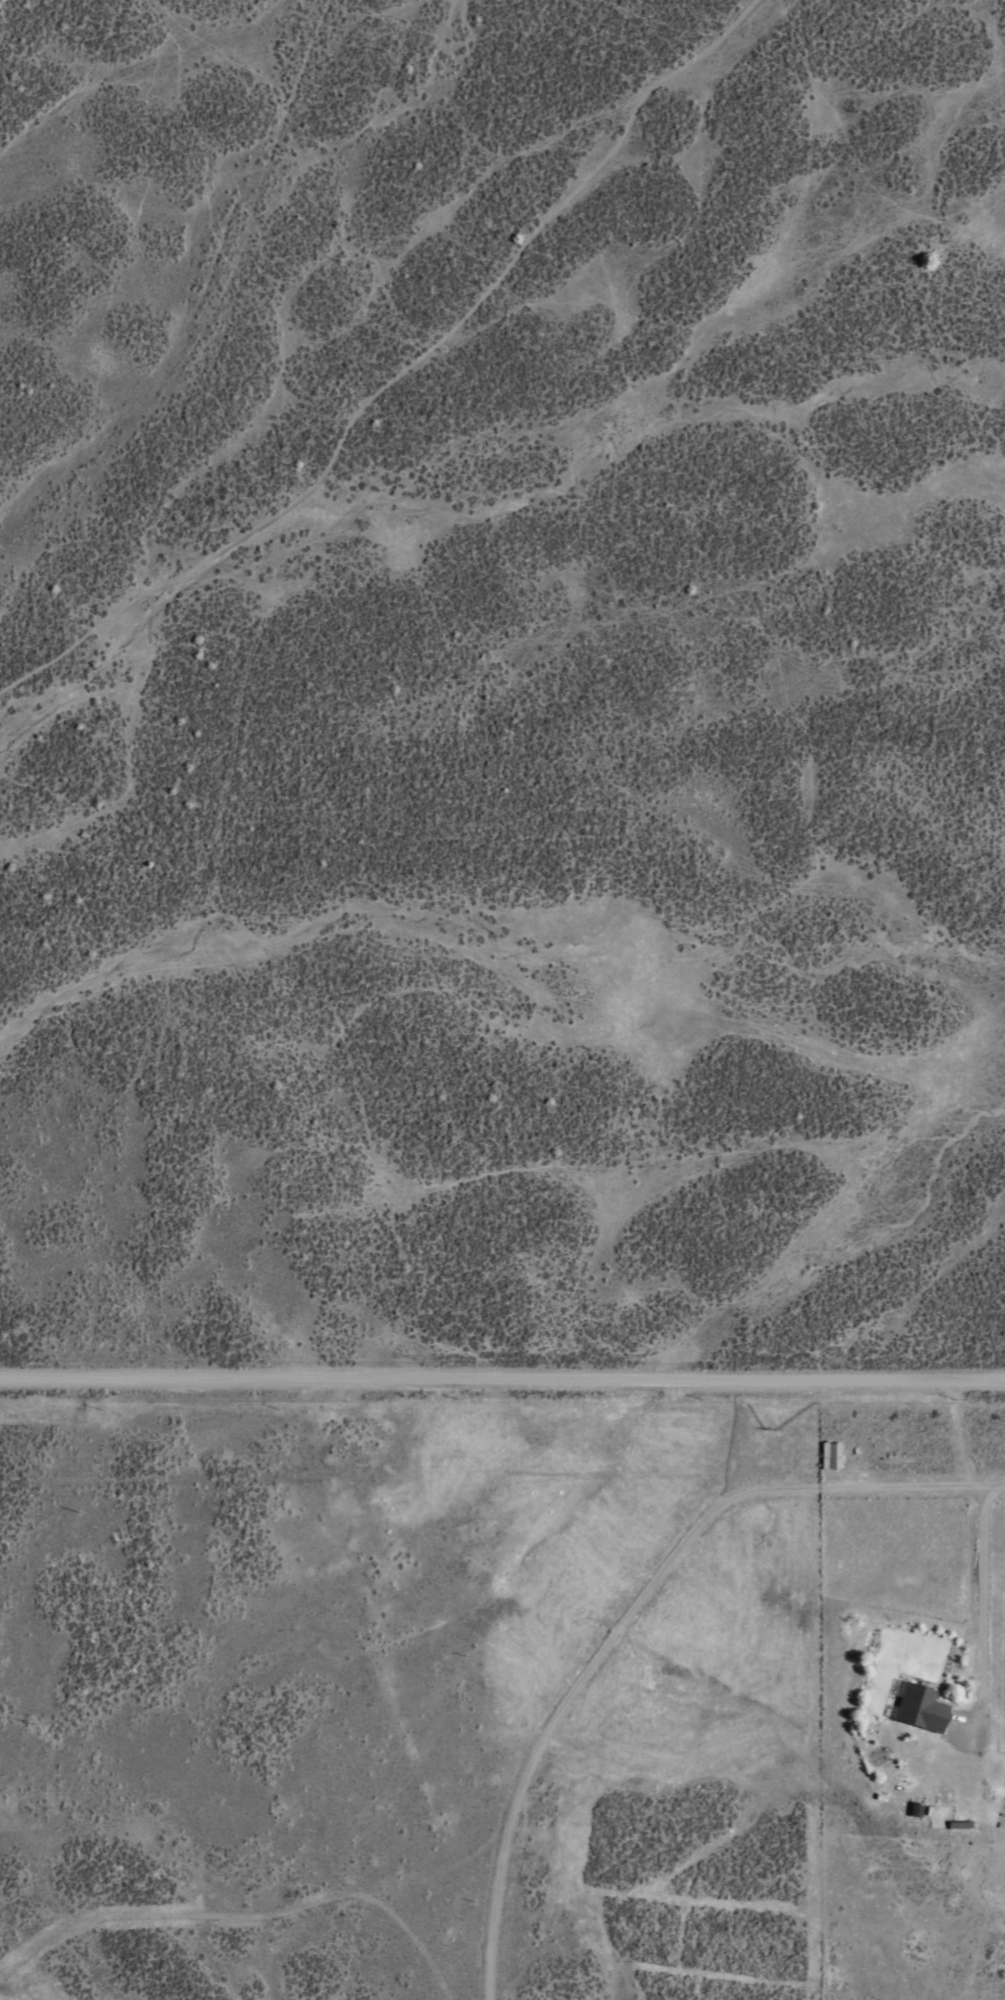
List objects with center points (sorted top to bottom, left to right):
road: (399, 372)
crop: (474, 949)
road: (502, 1386)
building: (829, 1454)
road: (630, 1608)

